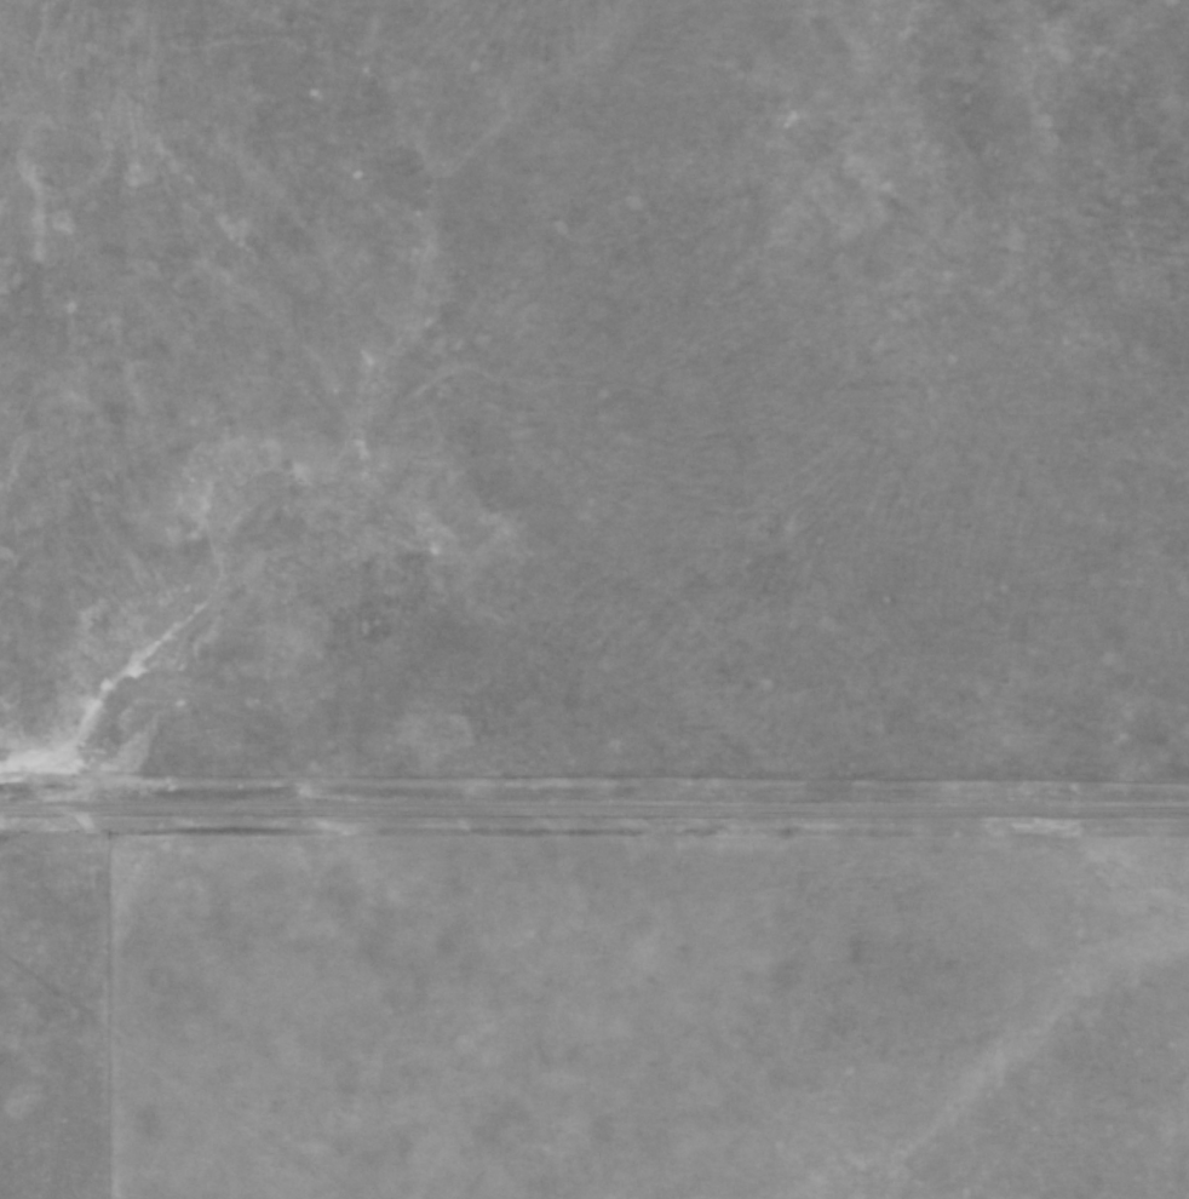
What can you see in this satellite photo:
road: (593, 814)

